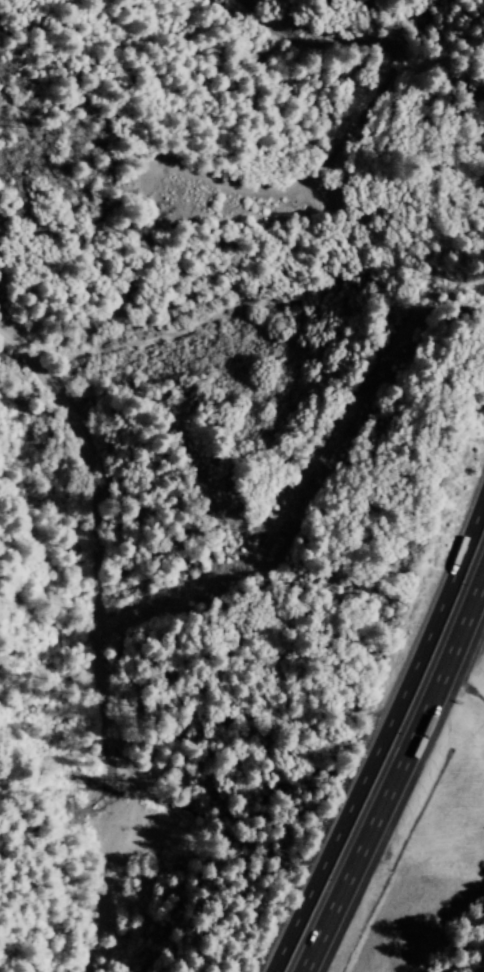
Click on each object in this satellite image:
road: (96, 639)
road: (385, 745)
road: (395, 771)

